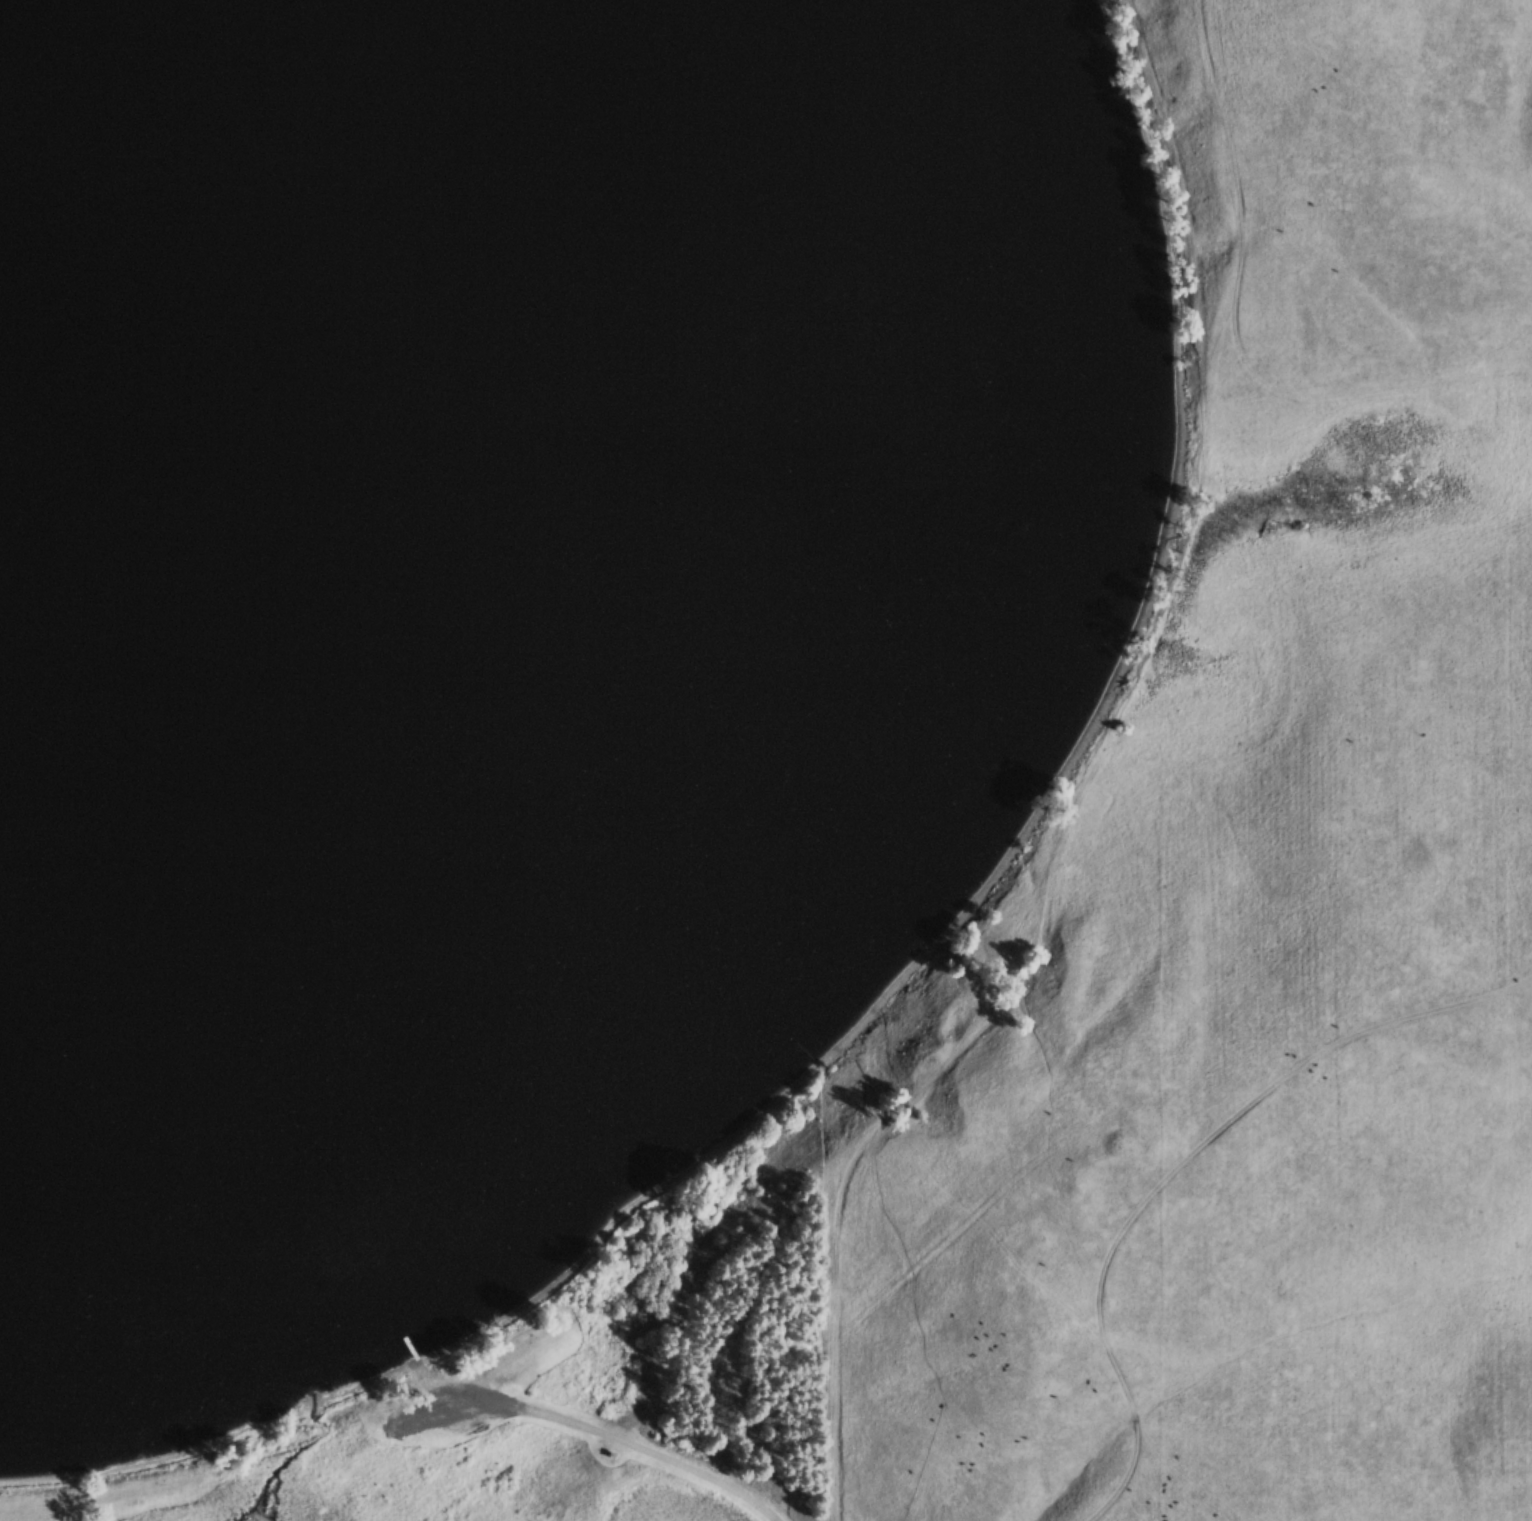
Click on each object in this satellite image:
river: (15, 338)

